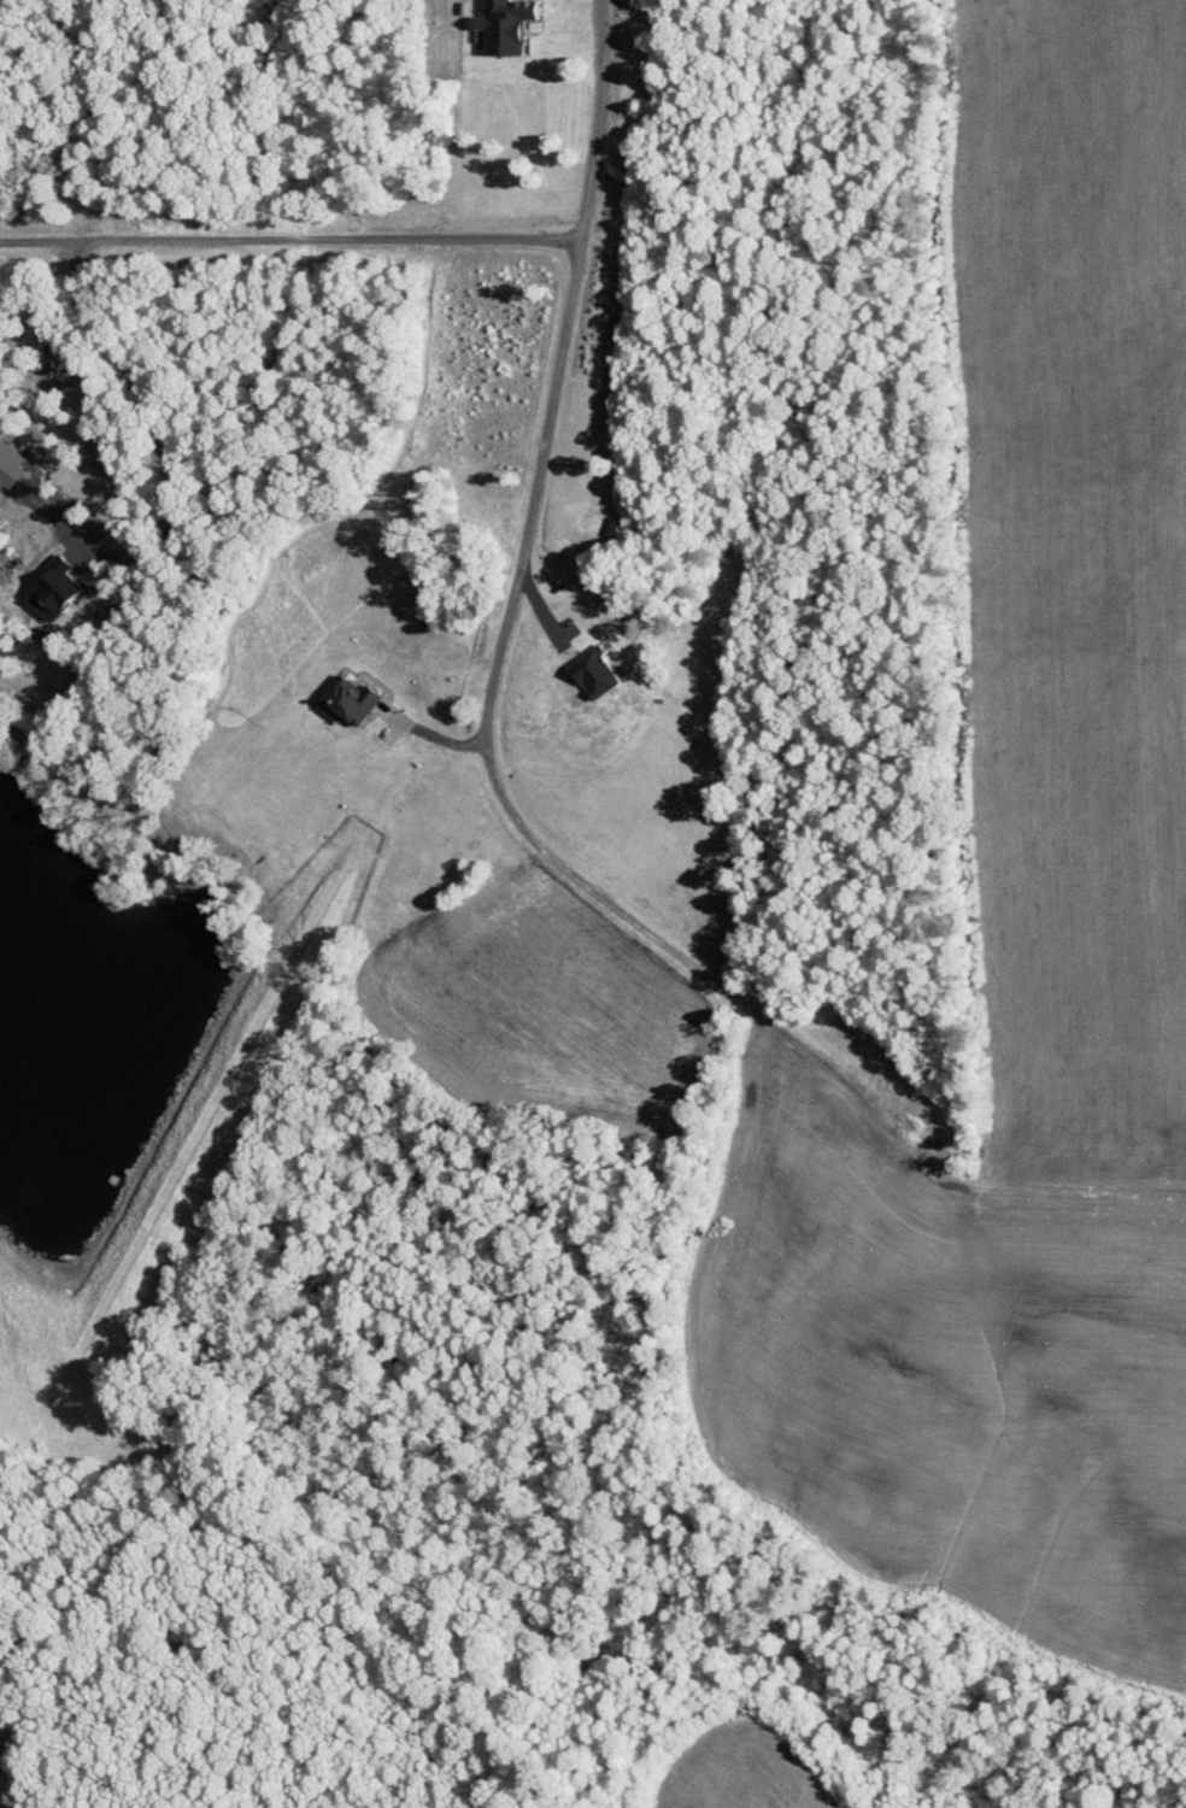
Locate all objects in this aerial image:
building: (486, 22)
road: (280, 233)
road: (158, 434)
building: (1, 458)
building: (35, 580)
building: (582, 661)
road: (476, 669)
building: (333, 691)

